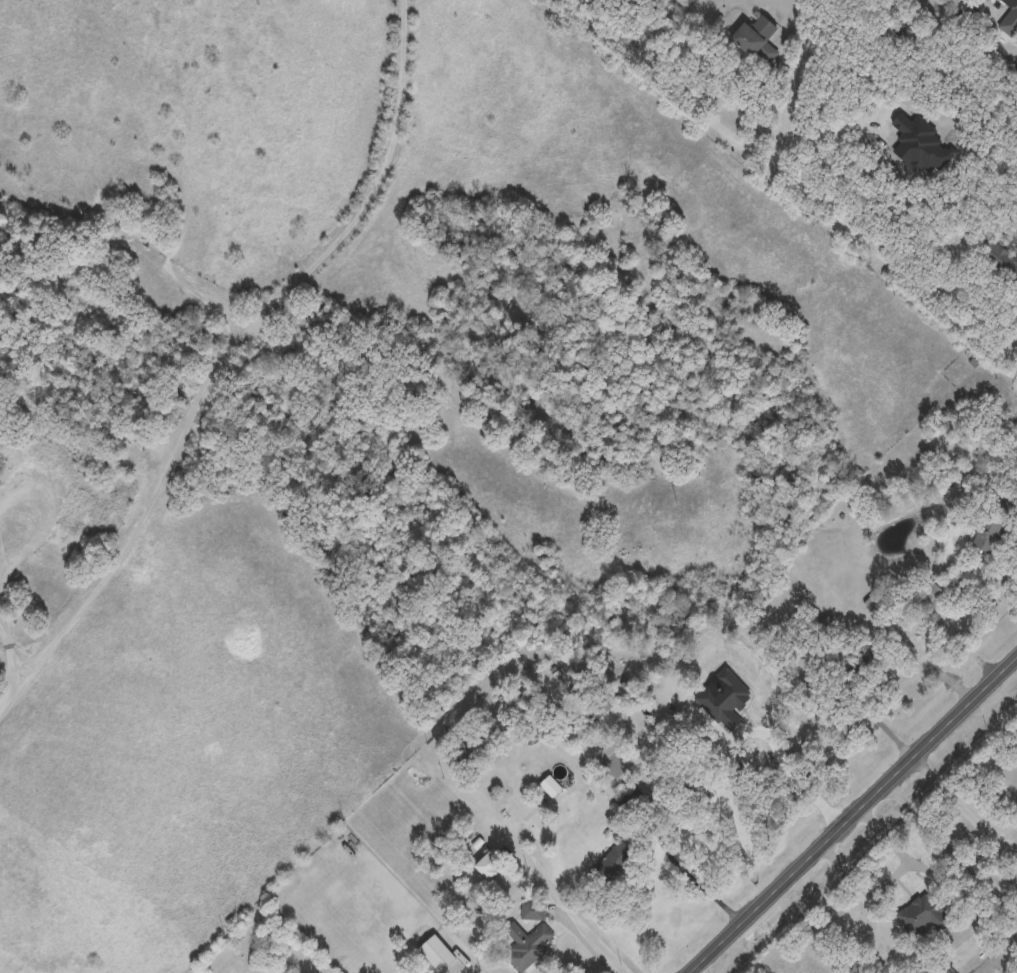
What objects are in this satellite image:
building: (1010, 19)
building: (758, 37)
road: (823, 135)
road: (213, 177)
road: (790, 182)
road: (371, 194)
road: (204, 238)
road: (1015, 491)
road: (57, 495)
building: (990, 526)
road: (131, 532)
road: (3, 553)
road: (3, 572)
building: (930, 590)
building: (874, 600)
road: (1, 612)
road: (962, 615)
building: (825, 623)
road: (12, 651)
road: (921, 669)
building: (598, 705)
road: (873, 712)
road: (801, 779)
building: (550, 784)
road: (964, 807)
road: (853, 817)
road: (954, 848)
road: (994, 850)
building: (490, 862)
road: (680, 866)
road: (562, 891)
building: (533, 908)
building: (923, 912)
road: (592, 940)
building: (526, 943)
building: (437, 951)
road: (481, 968)

